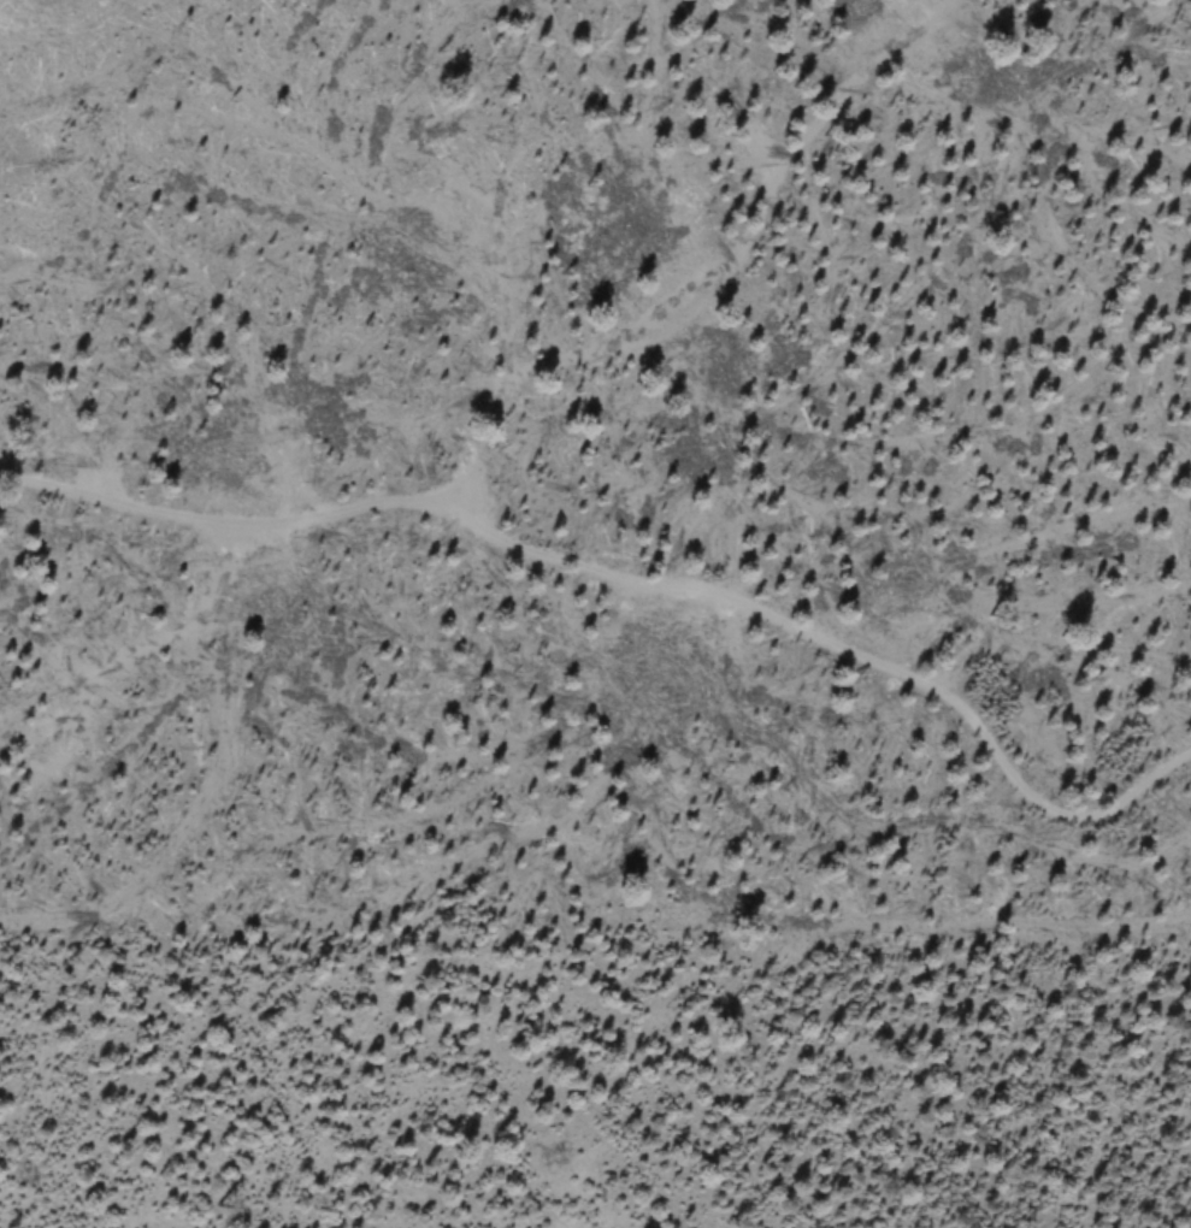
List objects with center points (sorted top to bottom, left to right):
road: (641, 575)

